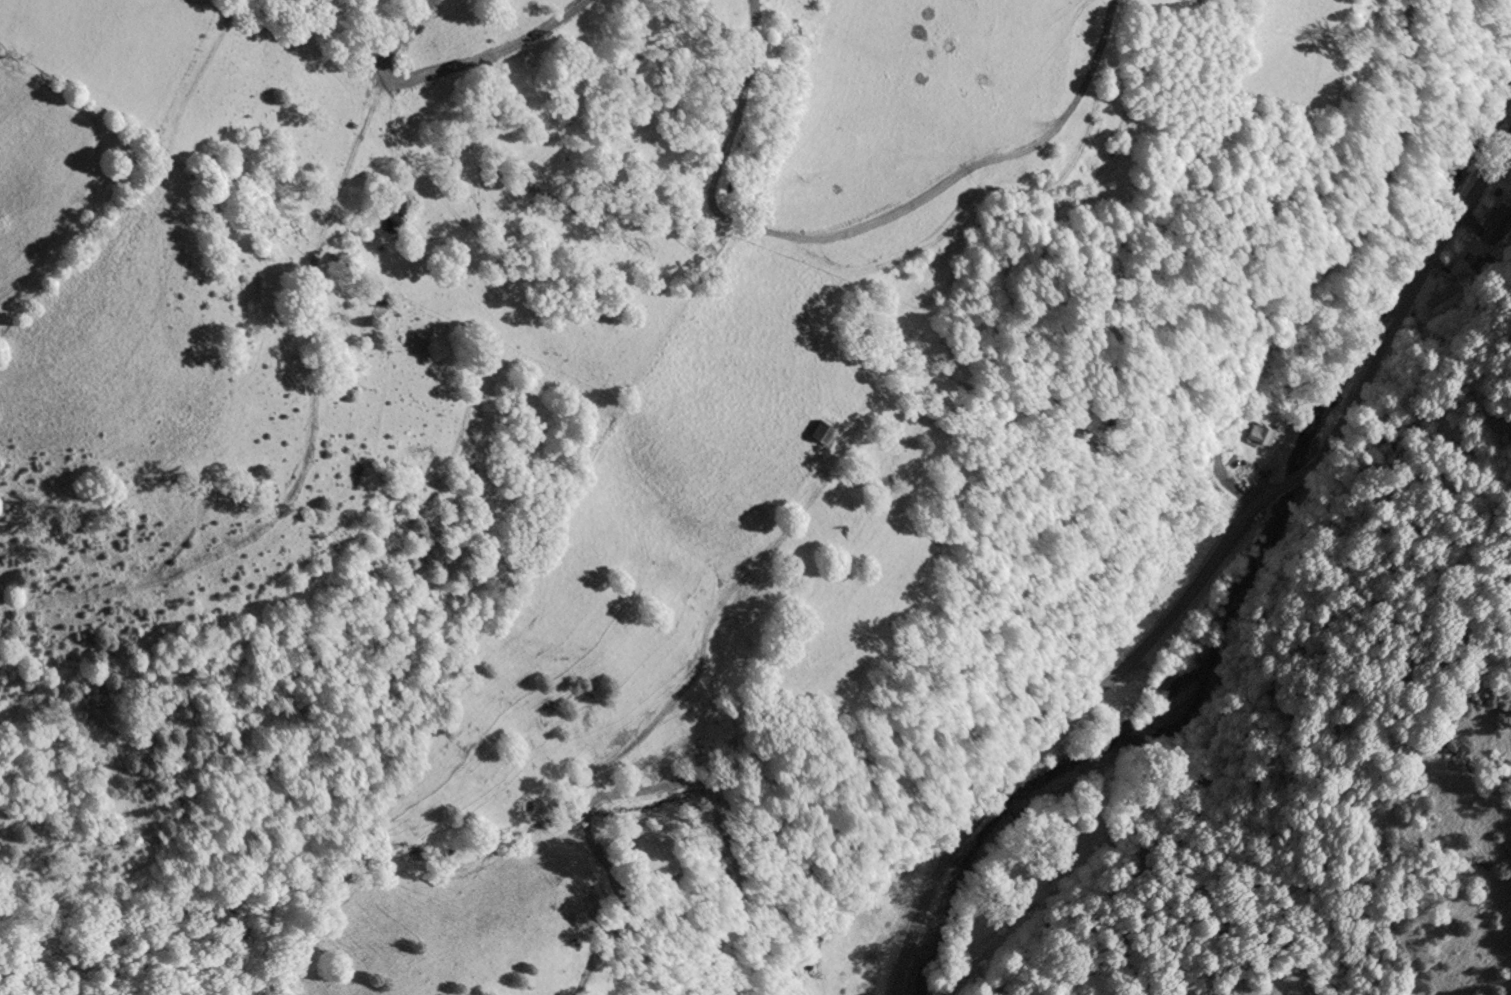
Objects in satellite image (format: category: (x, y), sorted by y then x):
building: (1498, 224)
road: (1318, 262)
road: (1410, 301)
building: (1446, 303)
building: (821, 433)
building: (1260, 437)
building: (1209, 438)
road: (1304, 475)
road: (1067, 718)
road: (656, 788)

